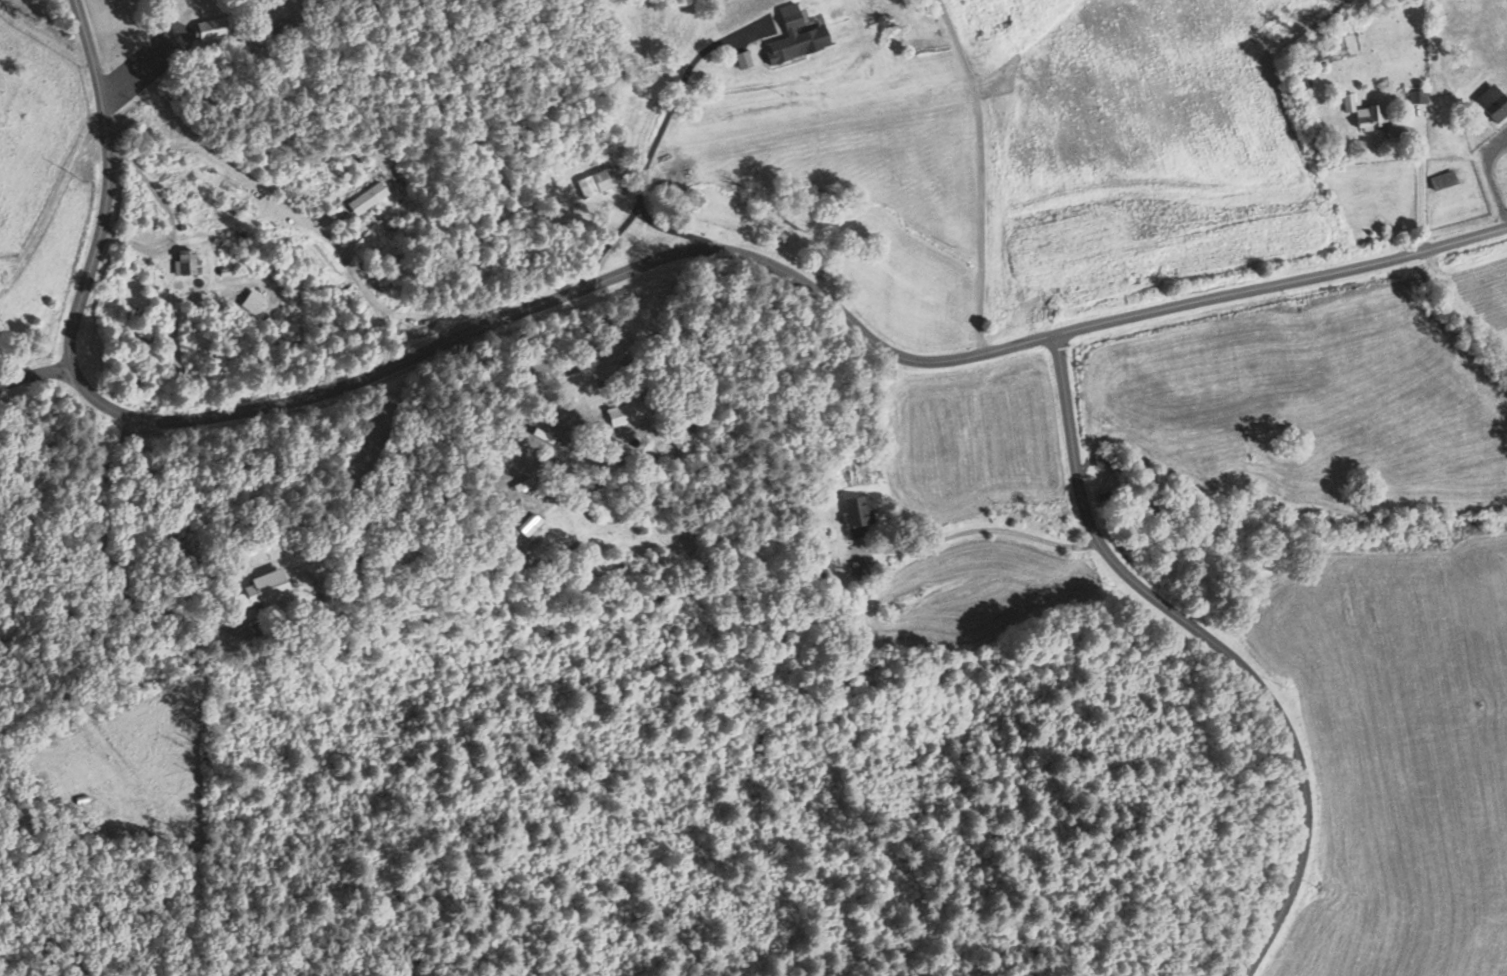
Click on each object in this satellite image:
building: (212, 28)
building: (796, 36)
building: (743, 59)
building: (1493, 102)
building: (1363, 112)
building: (1391, 129)
building: (596, 182)
building: (367, 198)
building: (186, 263)
road: (1283, 277)
building: (252, 302)
road: (395, 354)
road: (40, 370)
building: (628, 411)
building: (680, 439)
building: (857, 510)
road: (1221, 643)

